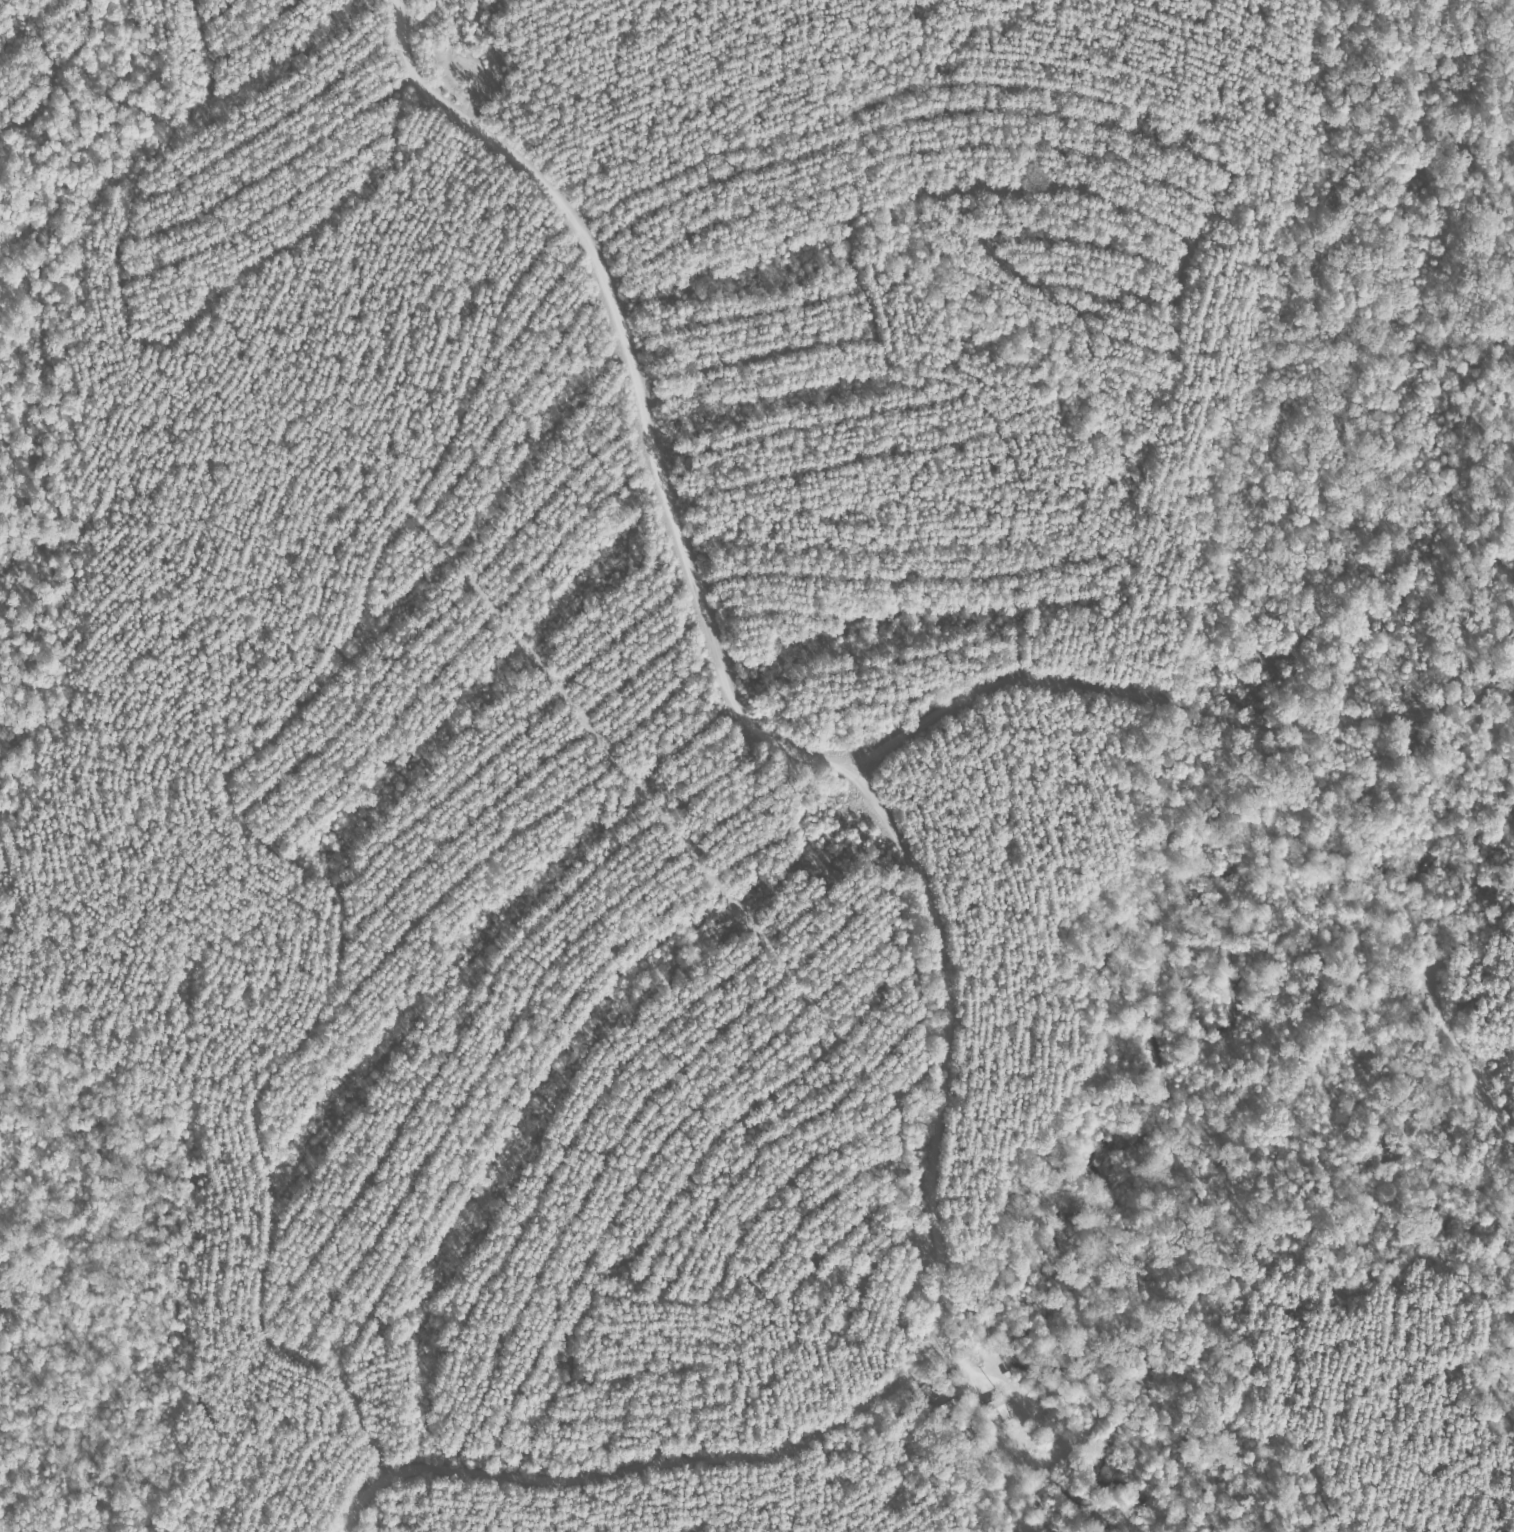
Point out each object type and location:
road: (654, 374)
road: (915, 993)
building: (951, 1379)

